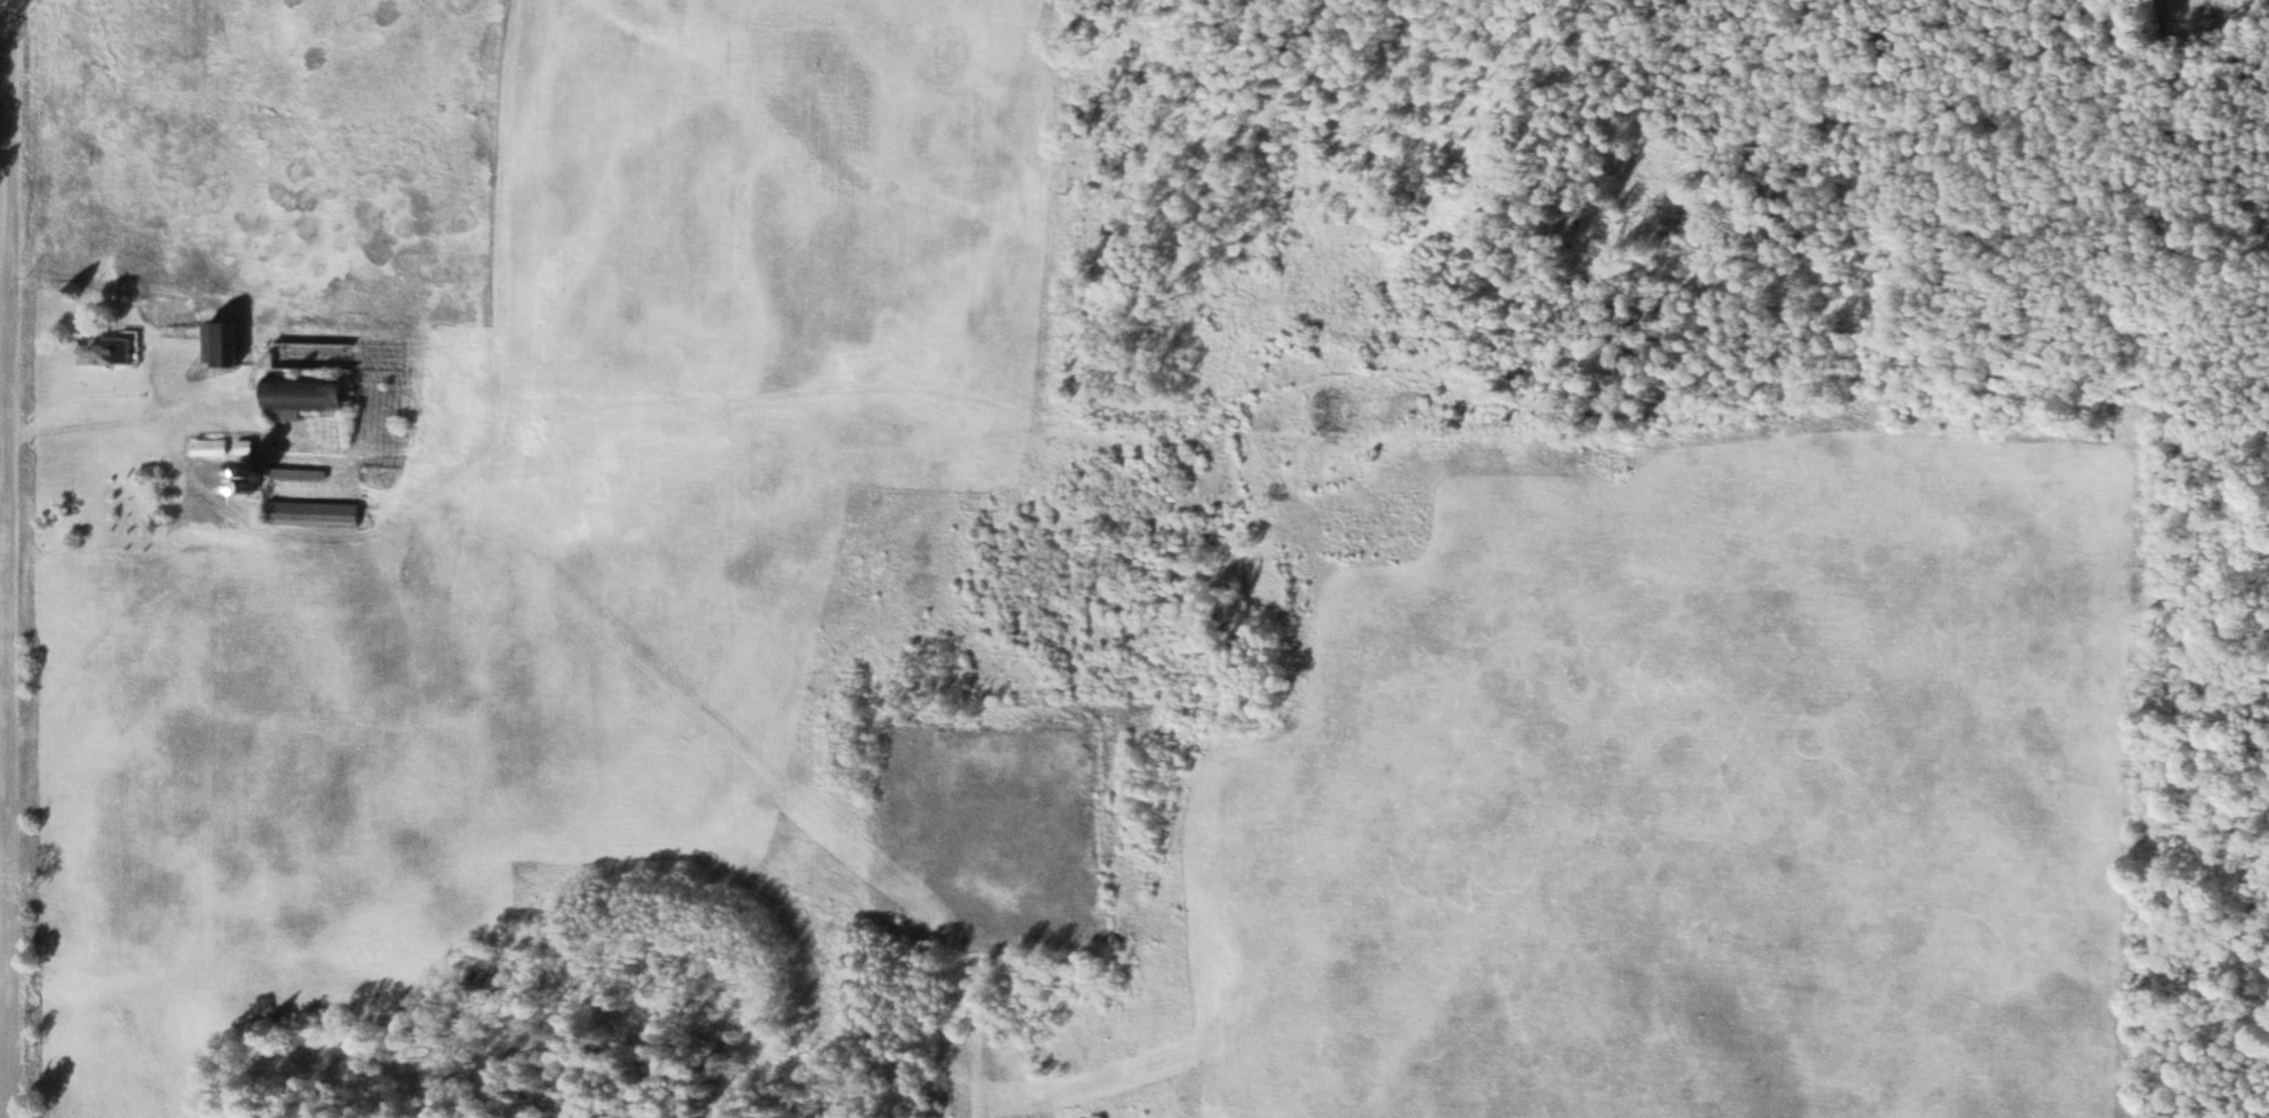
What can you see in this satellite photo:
building: (221, 346)
building: (105, 351)
building: (303, 393)
building: (299, 473)
building: (314, 513)
road: (9, 558)

